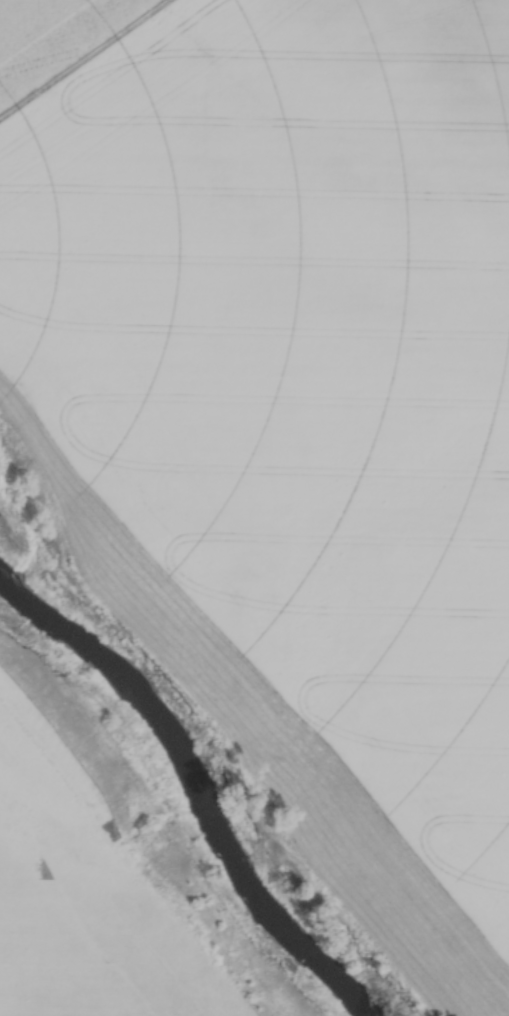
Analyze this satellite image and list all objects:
river: (193, 788)

